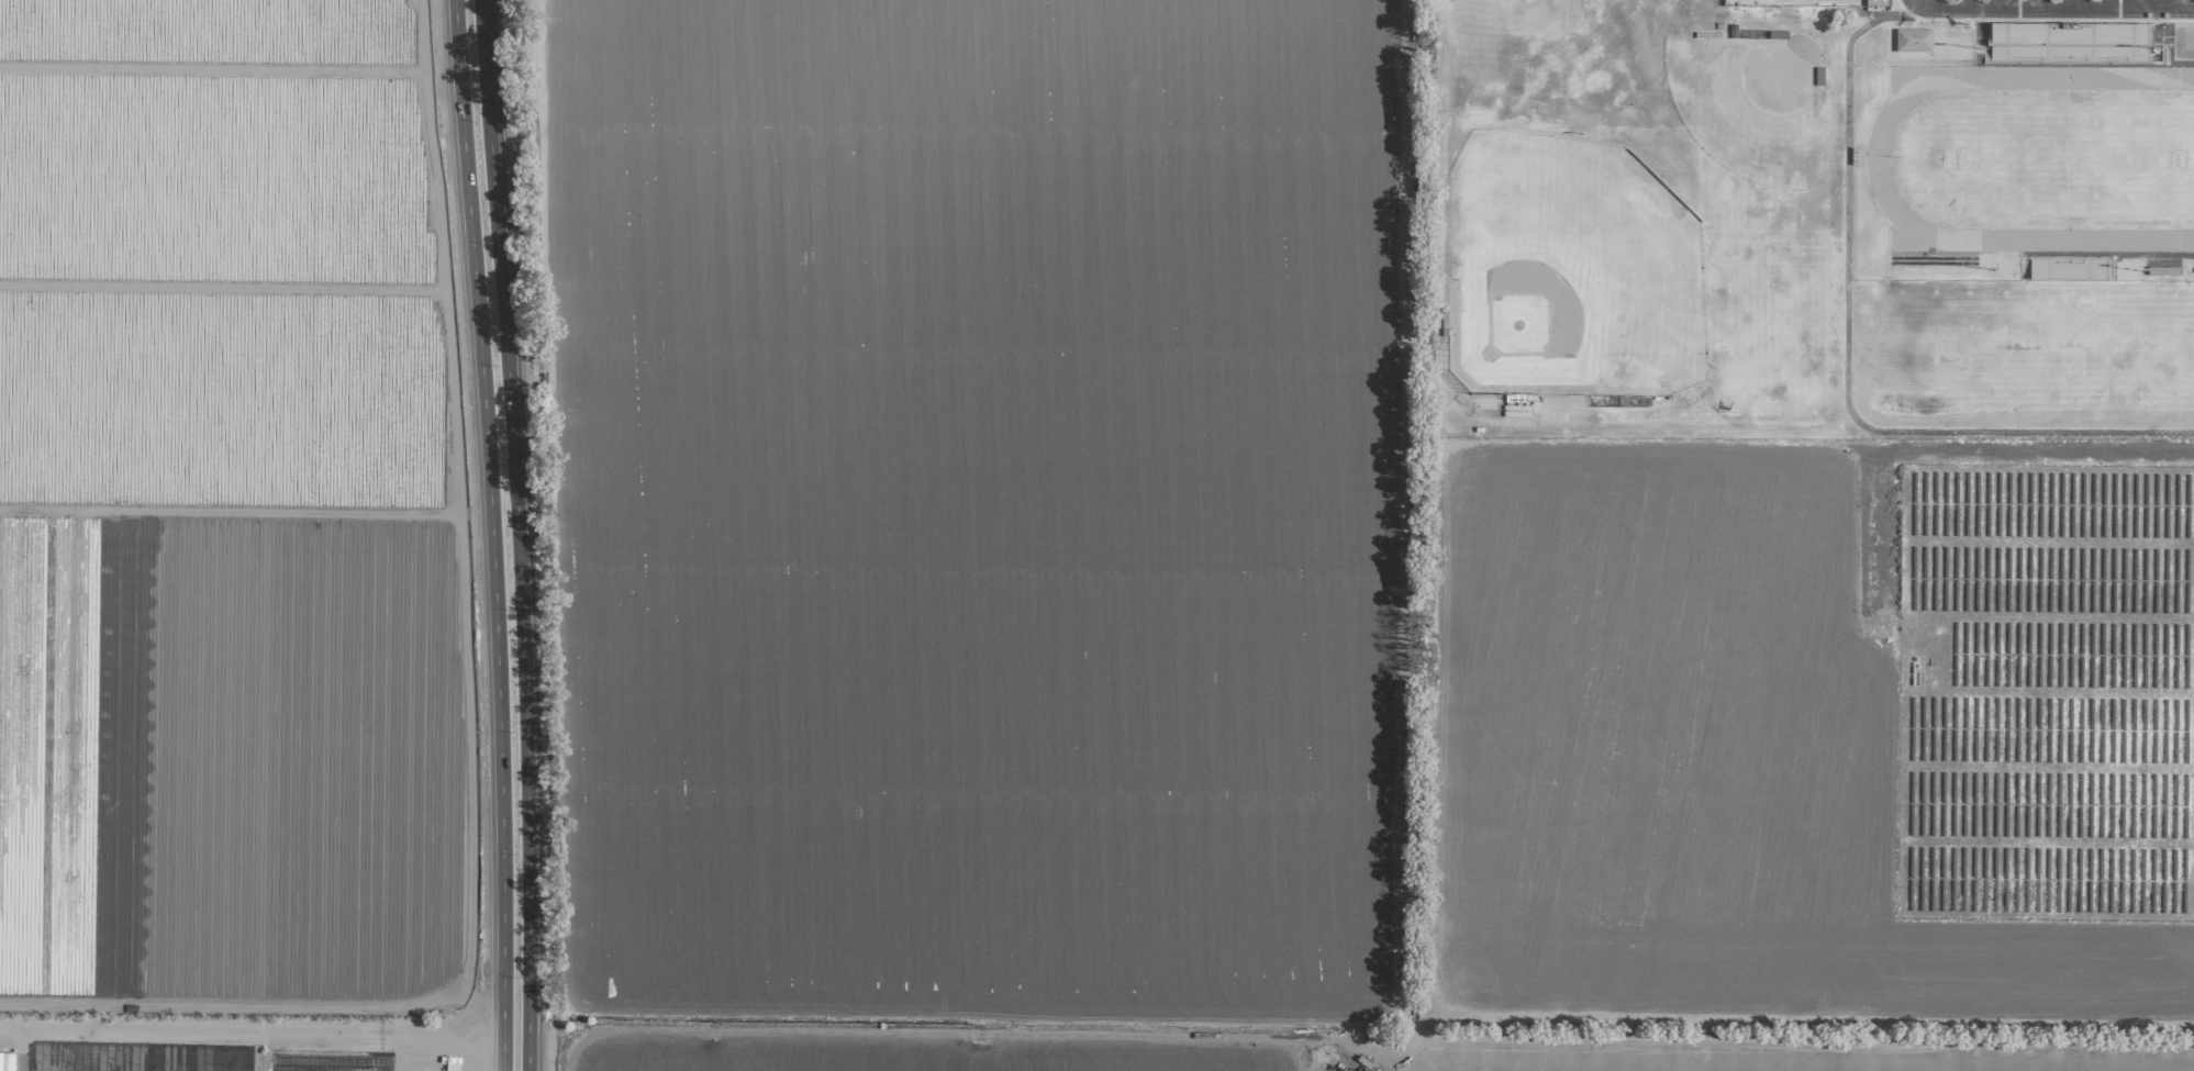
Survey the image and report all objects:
road: (2164, 3)
building: (1878, 5)
road: (2048, 8)
building: (1914, 41)
building: (2071, 44)
park: (1749, 104)
track: (1875, 155)
park: (2069, 159)
building: (2163, 271)
park: (1570, 272)
park: (1773, 297)
park: (2150, 348)
park: (2042, 352)
road: (1846, 367)
road: (491, 535)
road: (517, 535)
crop: (748, 548)
solar farm: (2046, 692)
road: (252, 1036)
road: (27, 1052)
building: (5, 1062)

